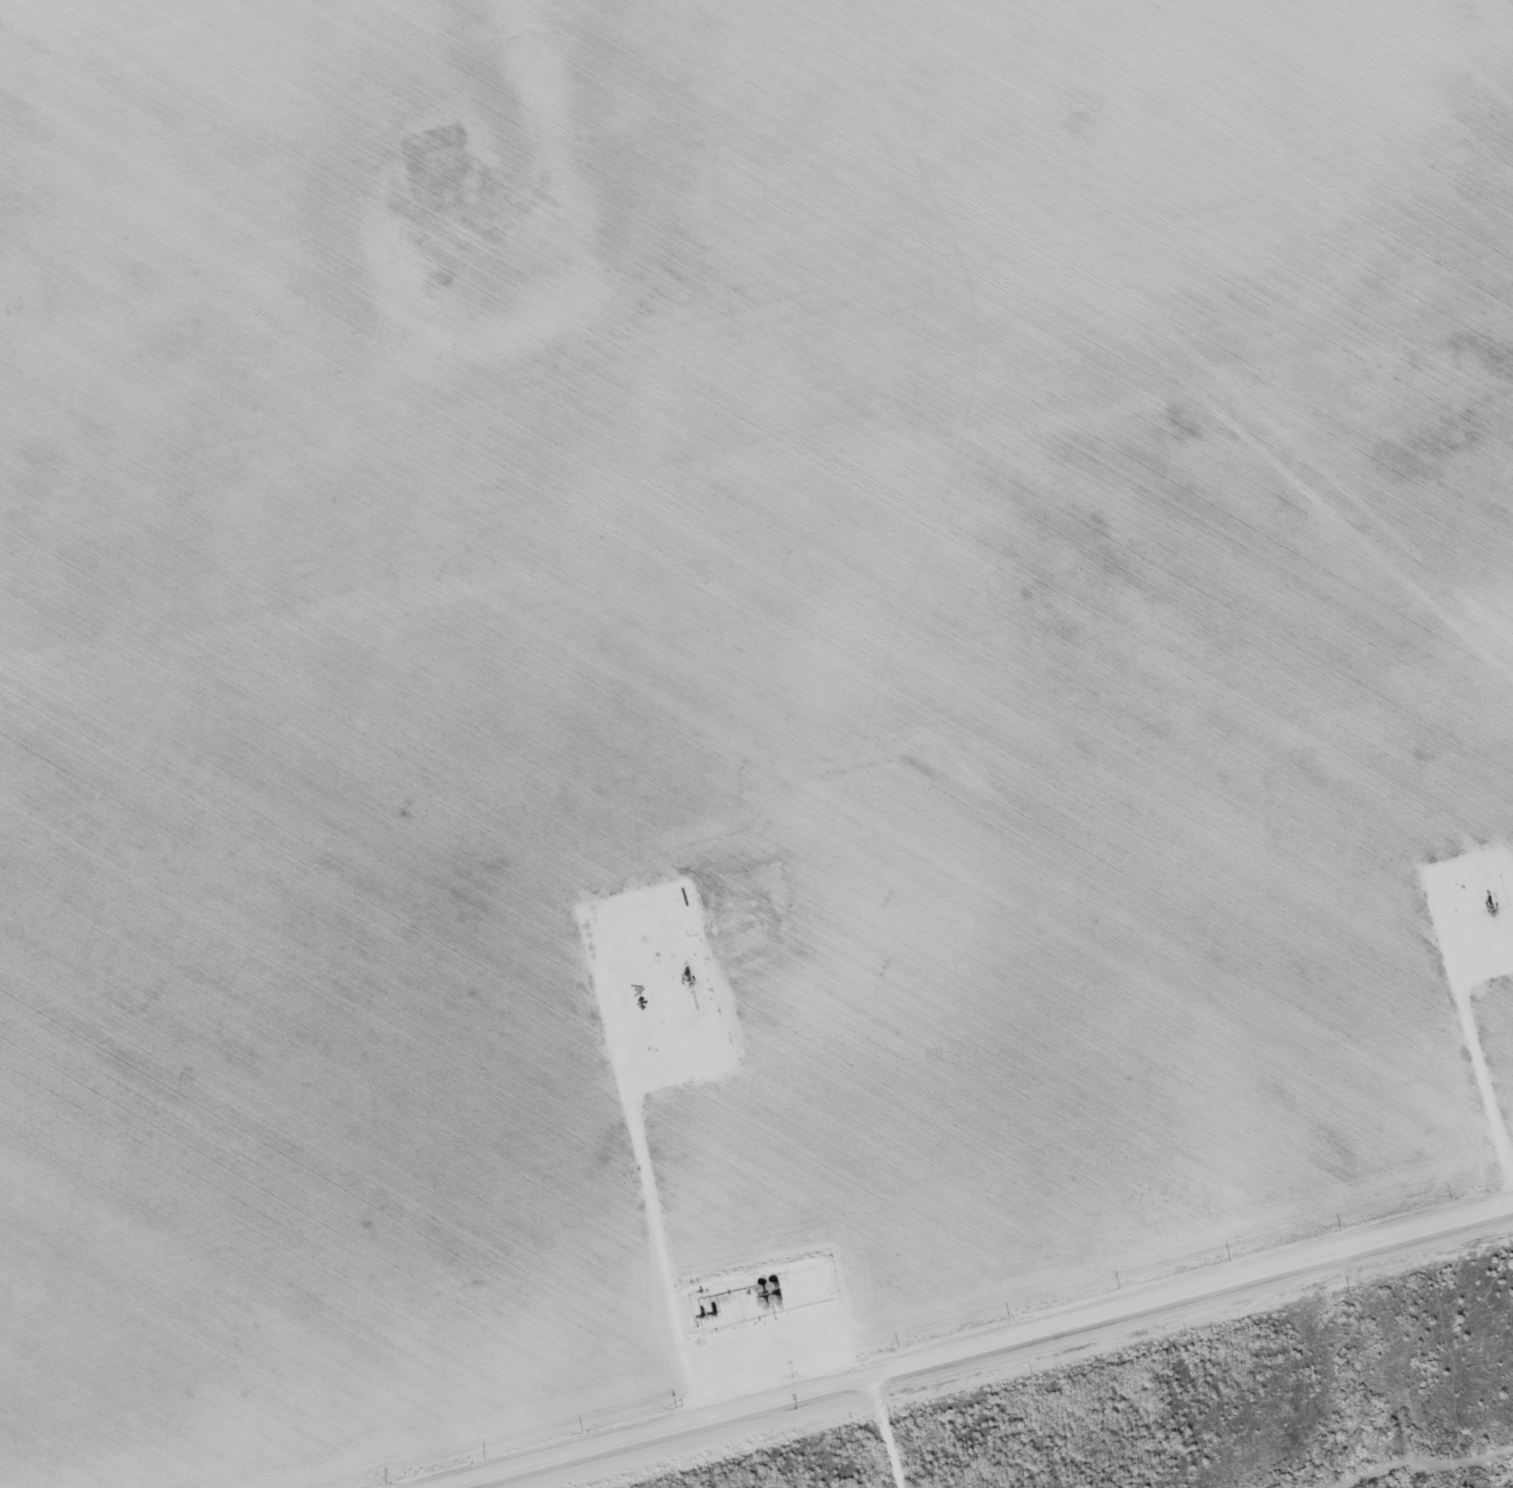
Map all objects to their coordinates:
road: (1026, 1362)

